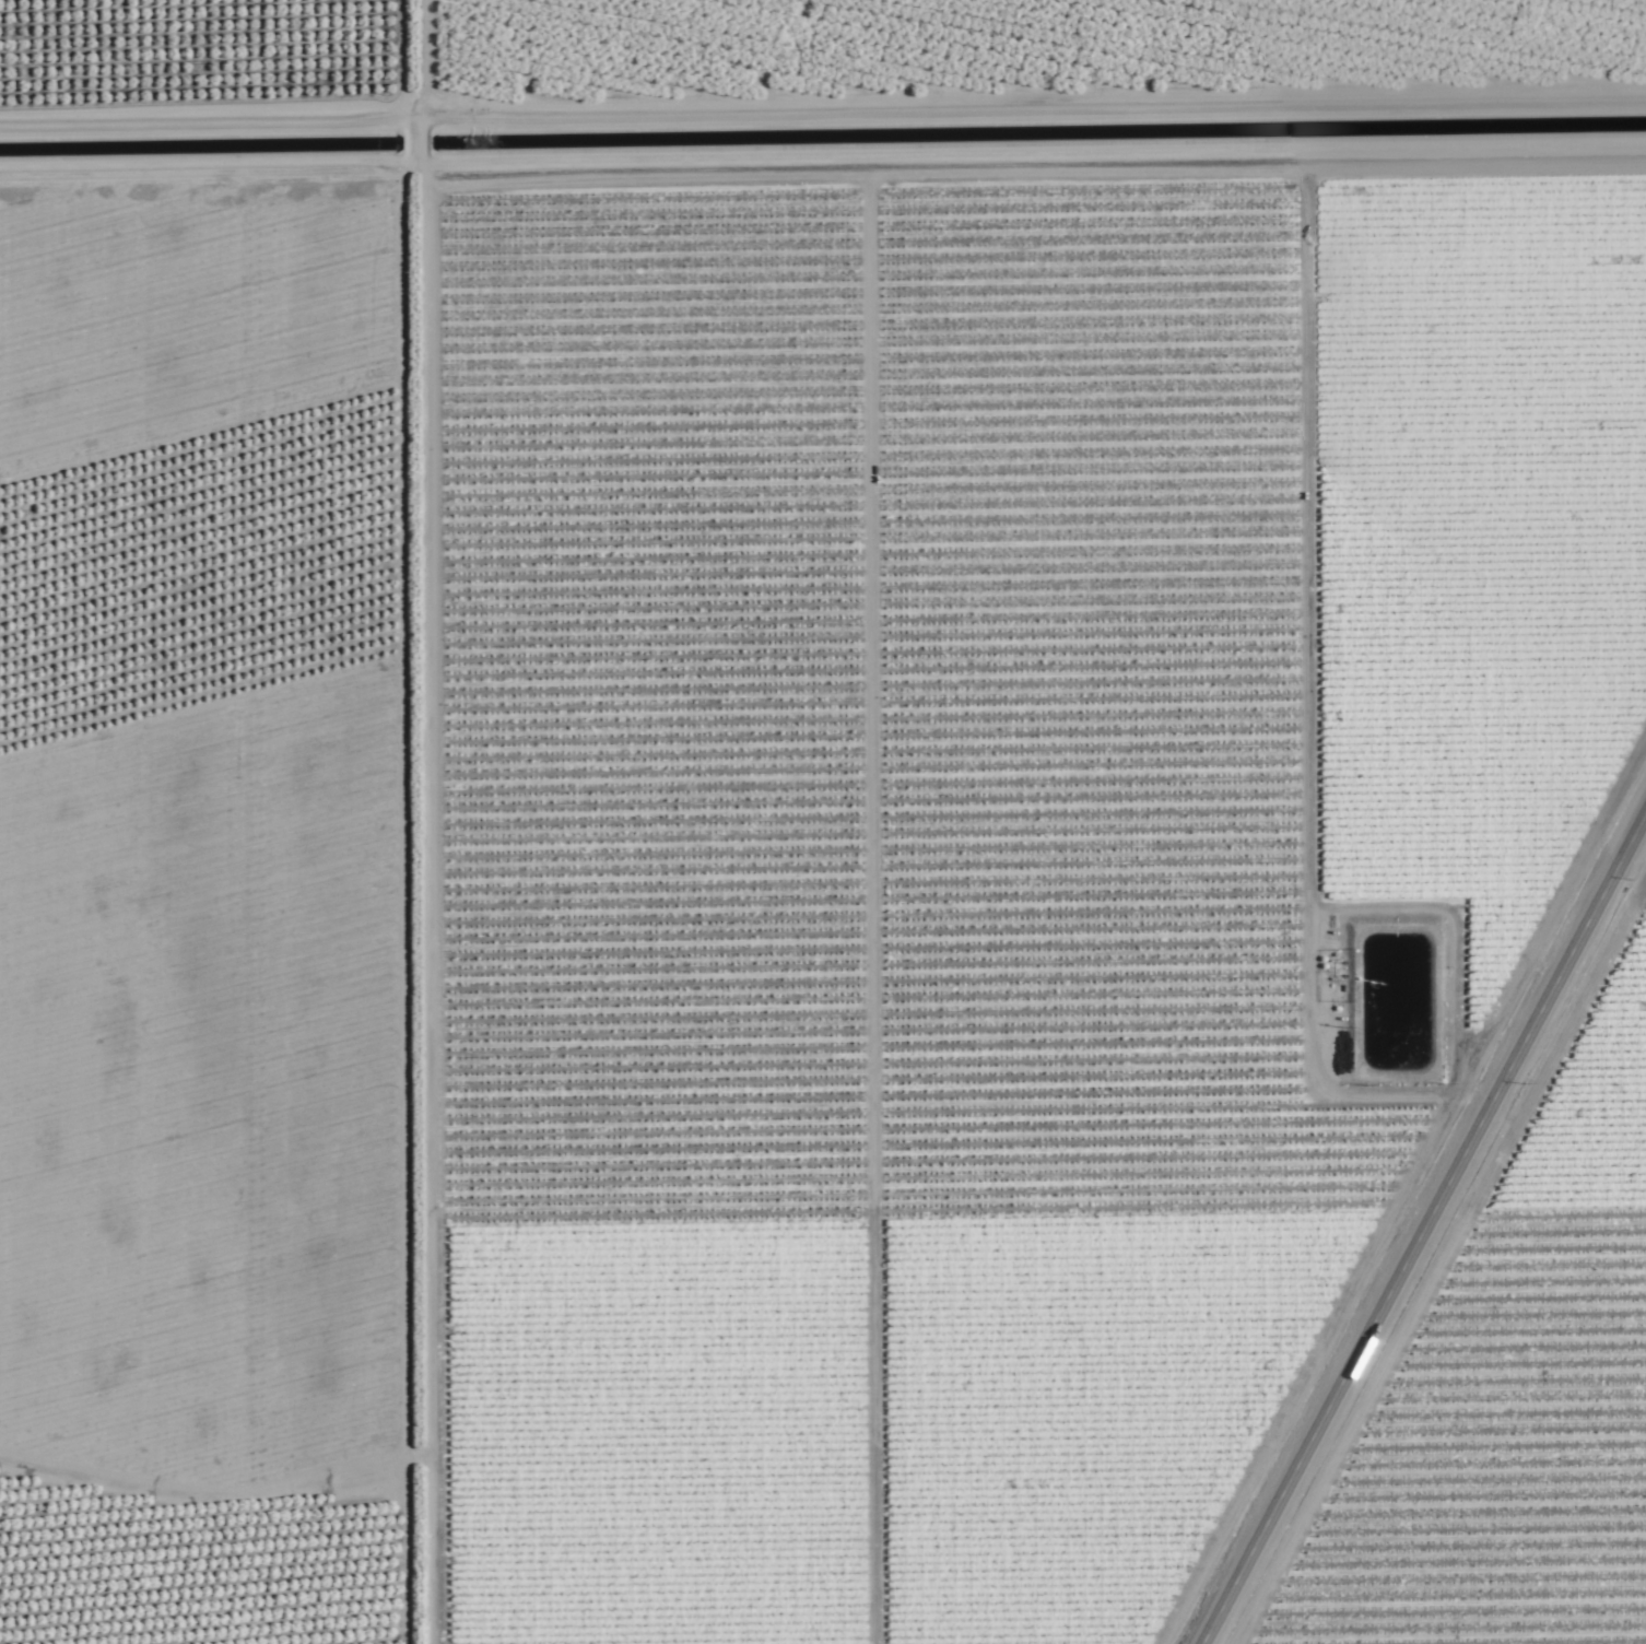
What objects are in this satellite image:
road: (1634, 1)
building: (151, 283)
road: (419, 822)
crop: (823, 822)
road: (1425, 1231)

